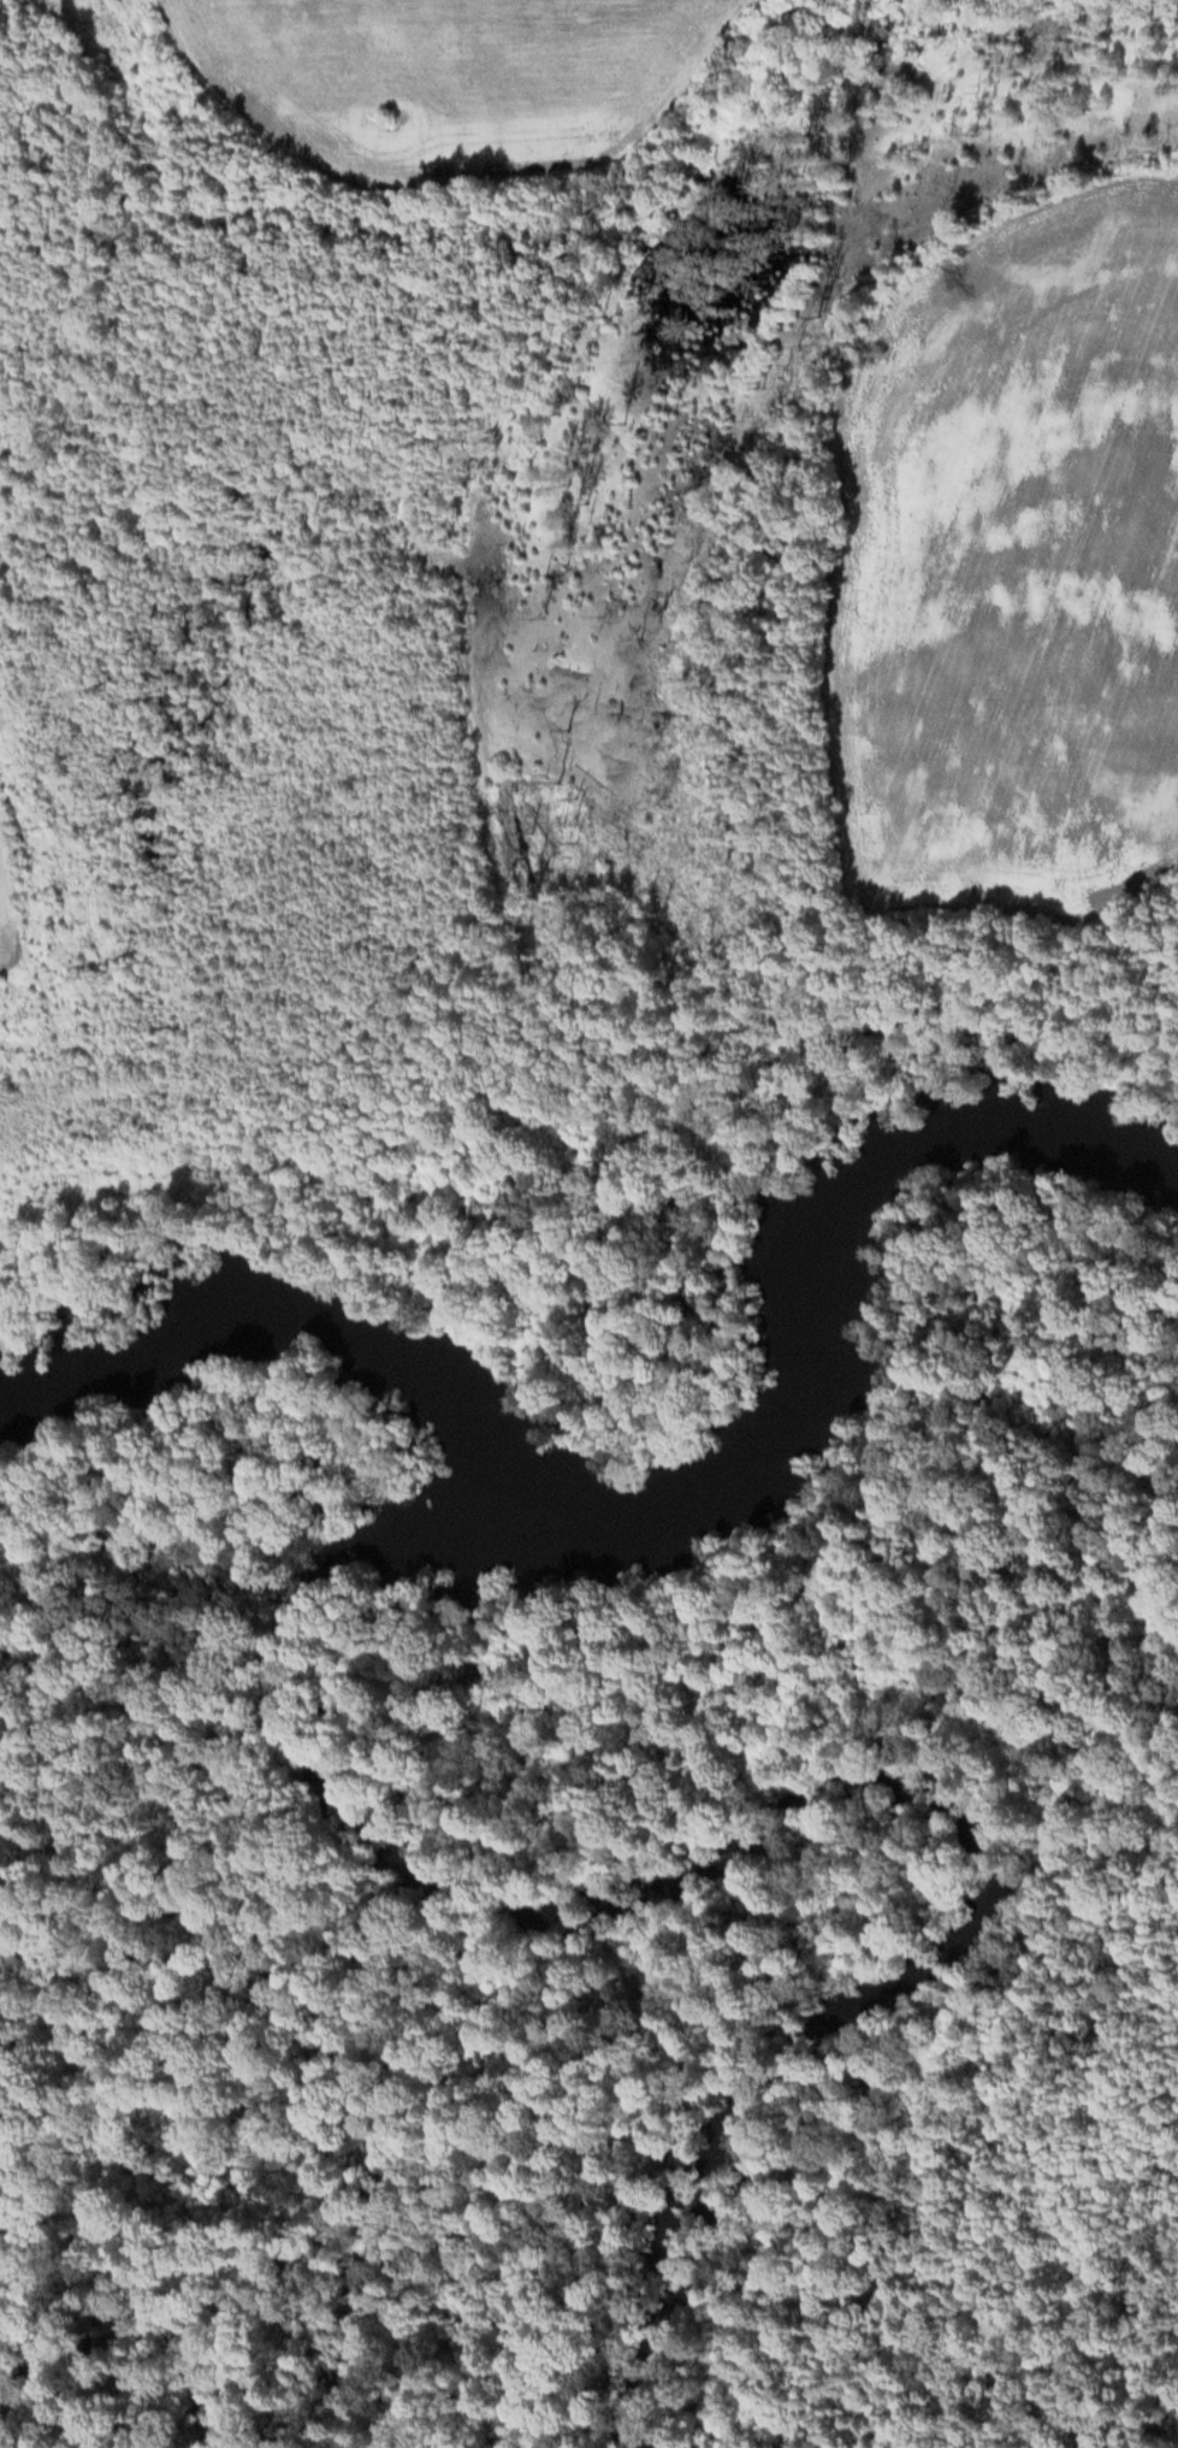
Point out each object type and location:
river: (637, 1515)

